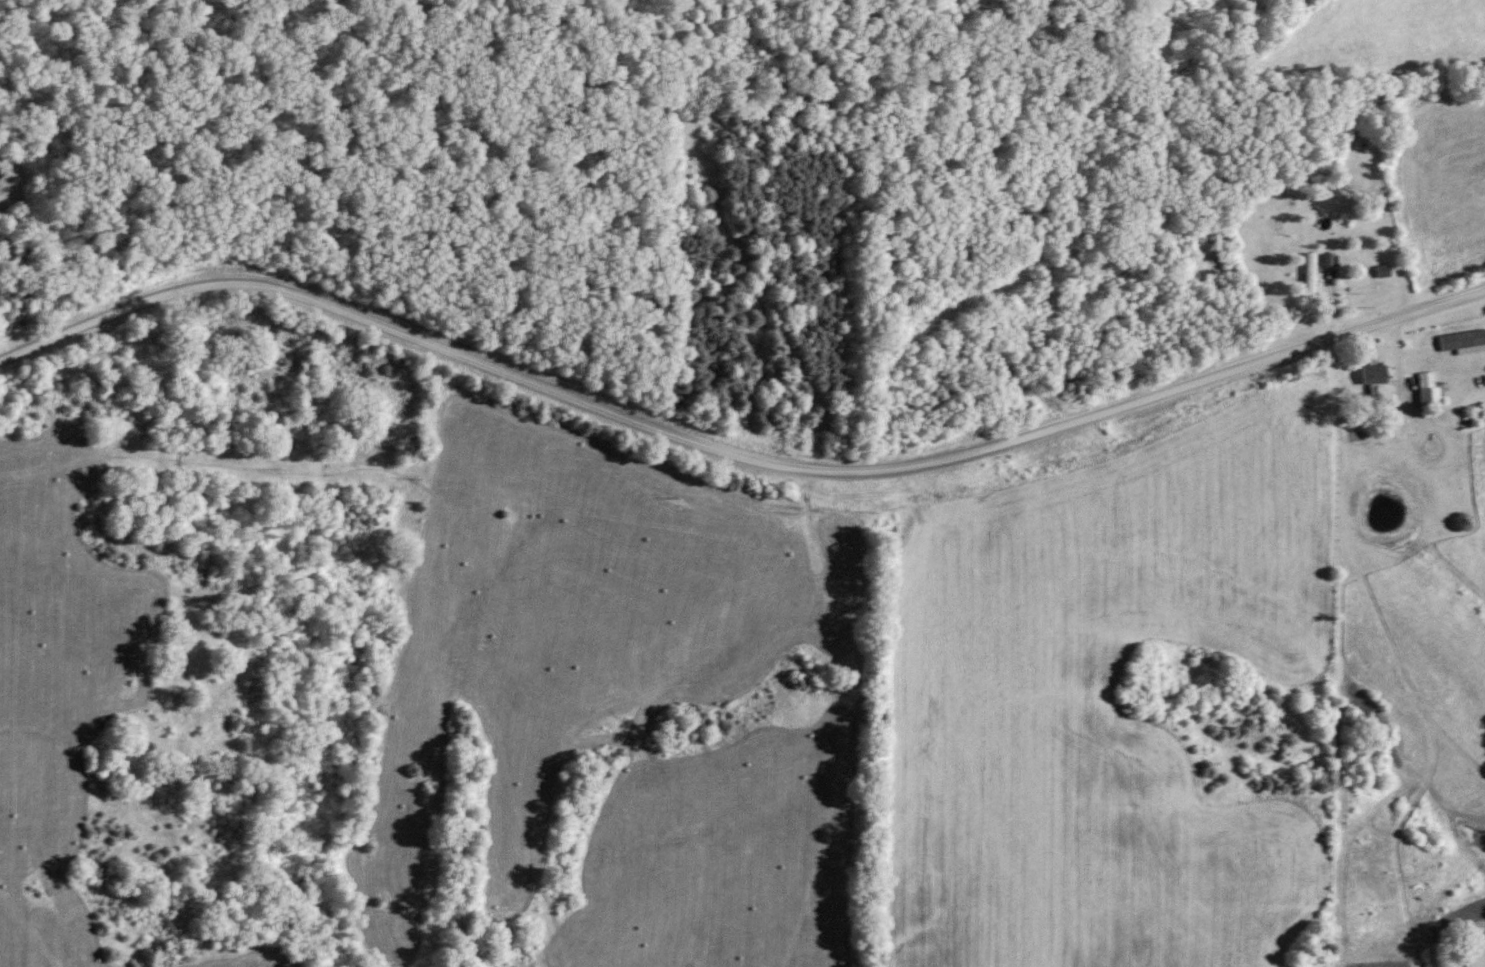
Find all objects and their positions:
building: (1382, 272)
building: (1309, 275)
building: (1461, 340)
building: (1372, 375)
building: (1427, 390)
road: (734, 450)

